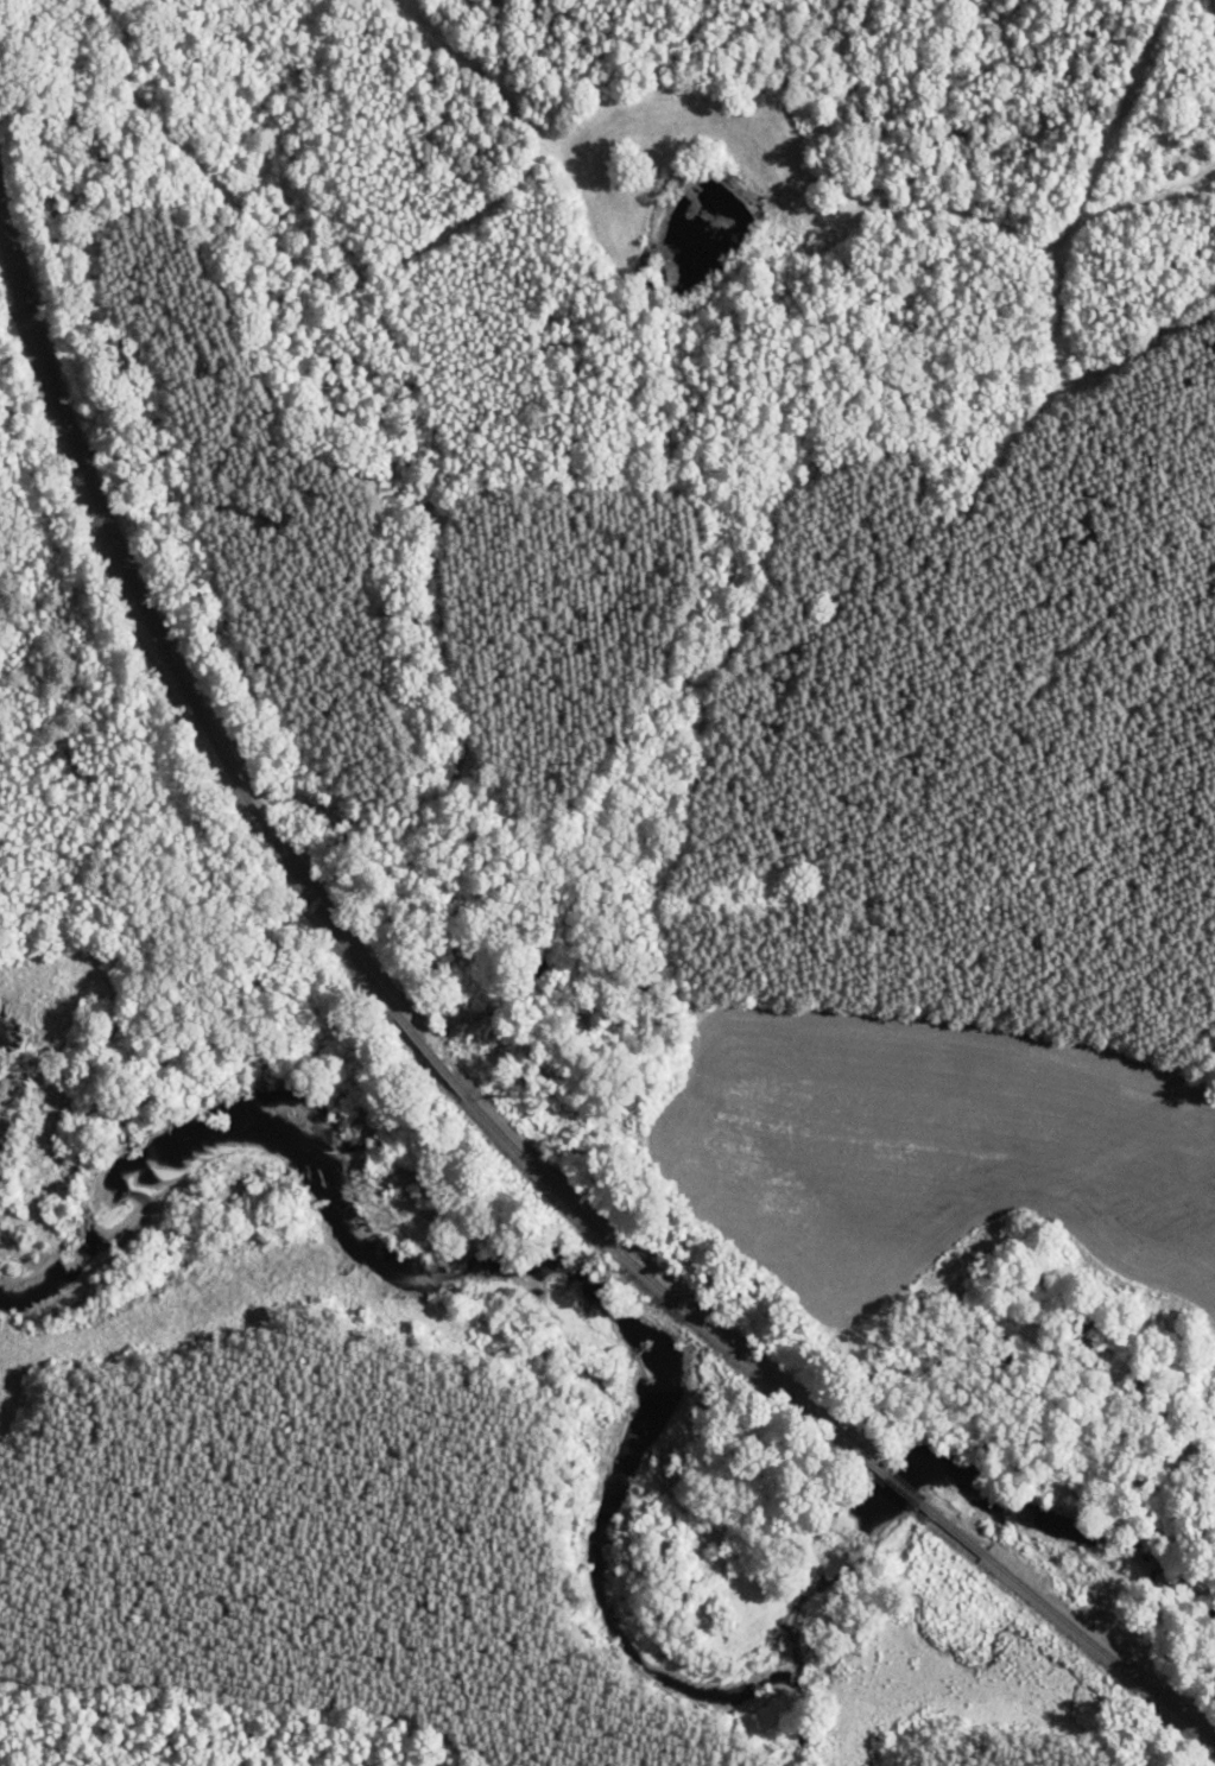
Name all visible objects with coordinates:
railway: (453, 1080)

